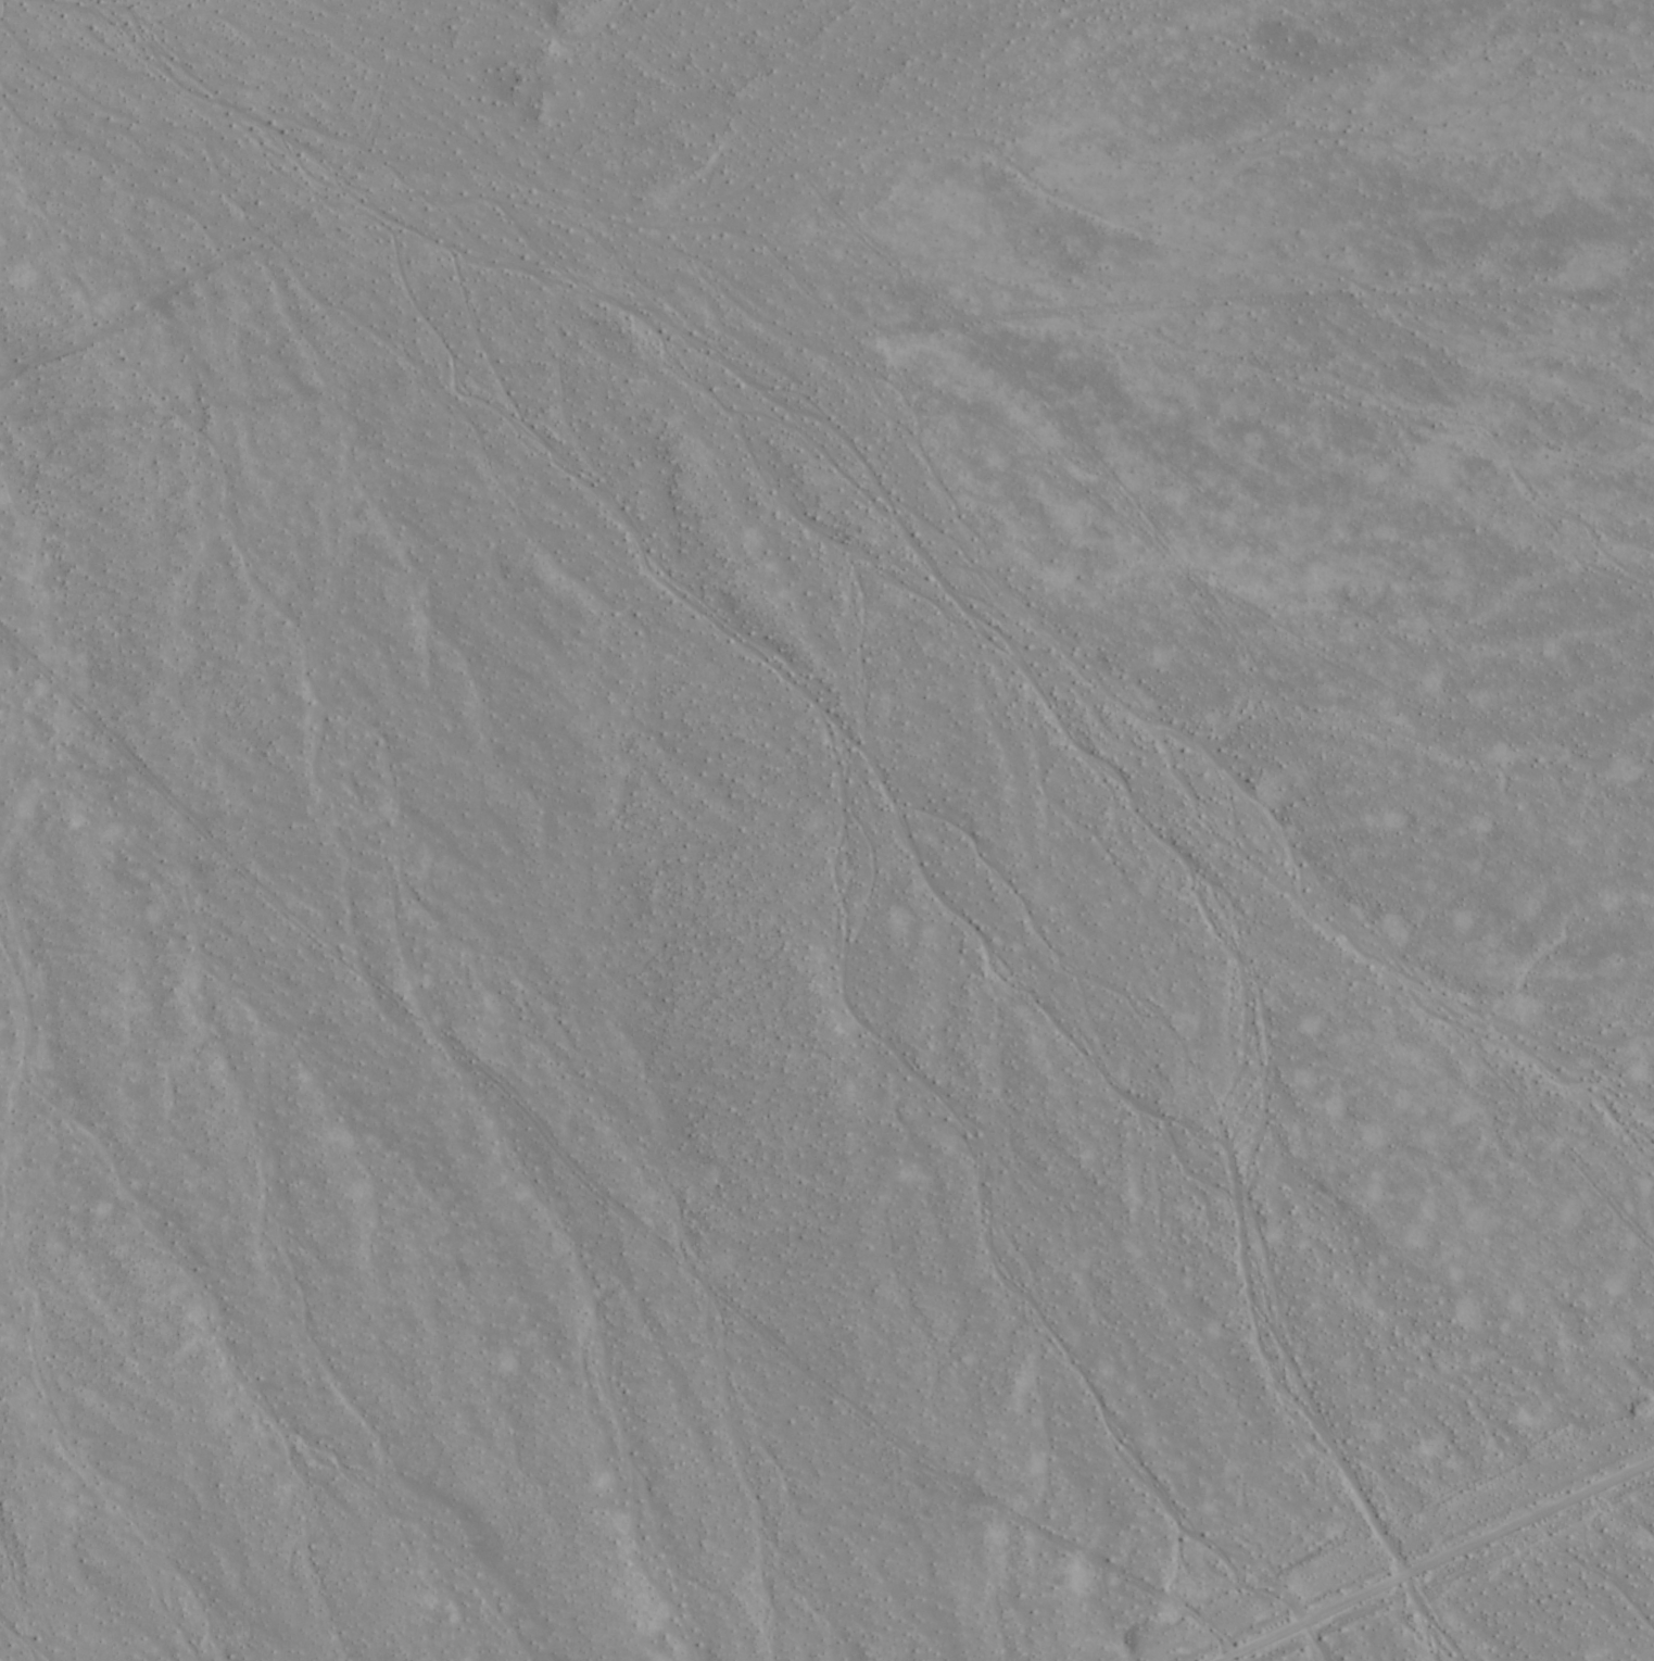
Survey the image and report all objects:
road: (1427, 1560)

